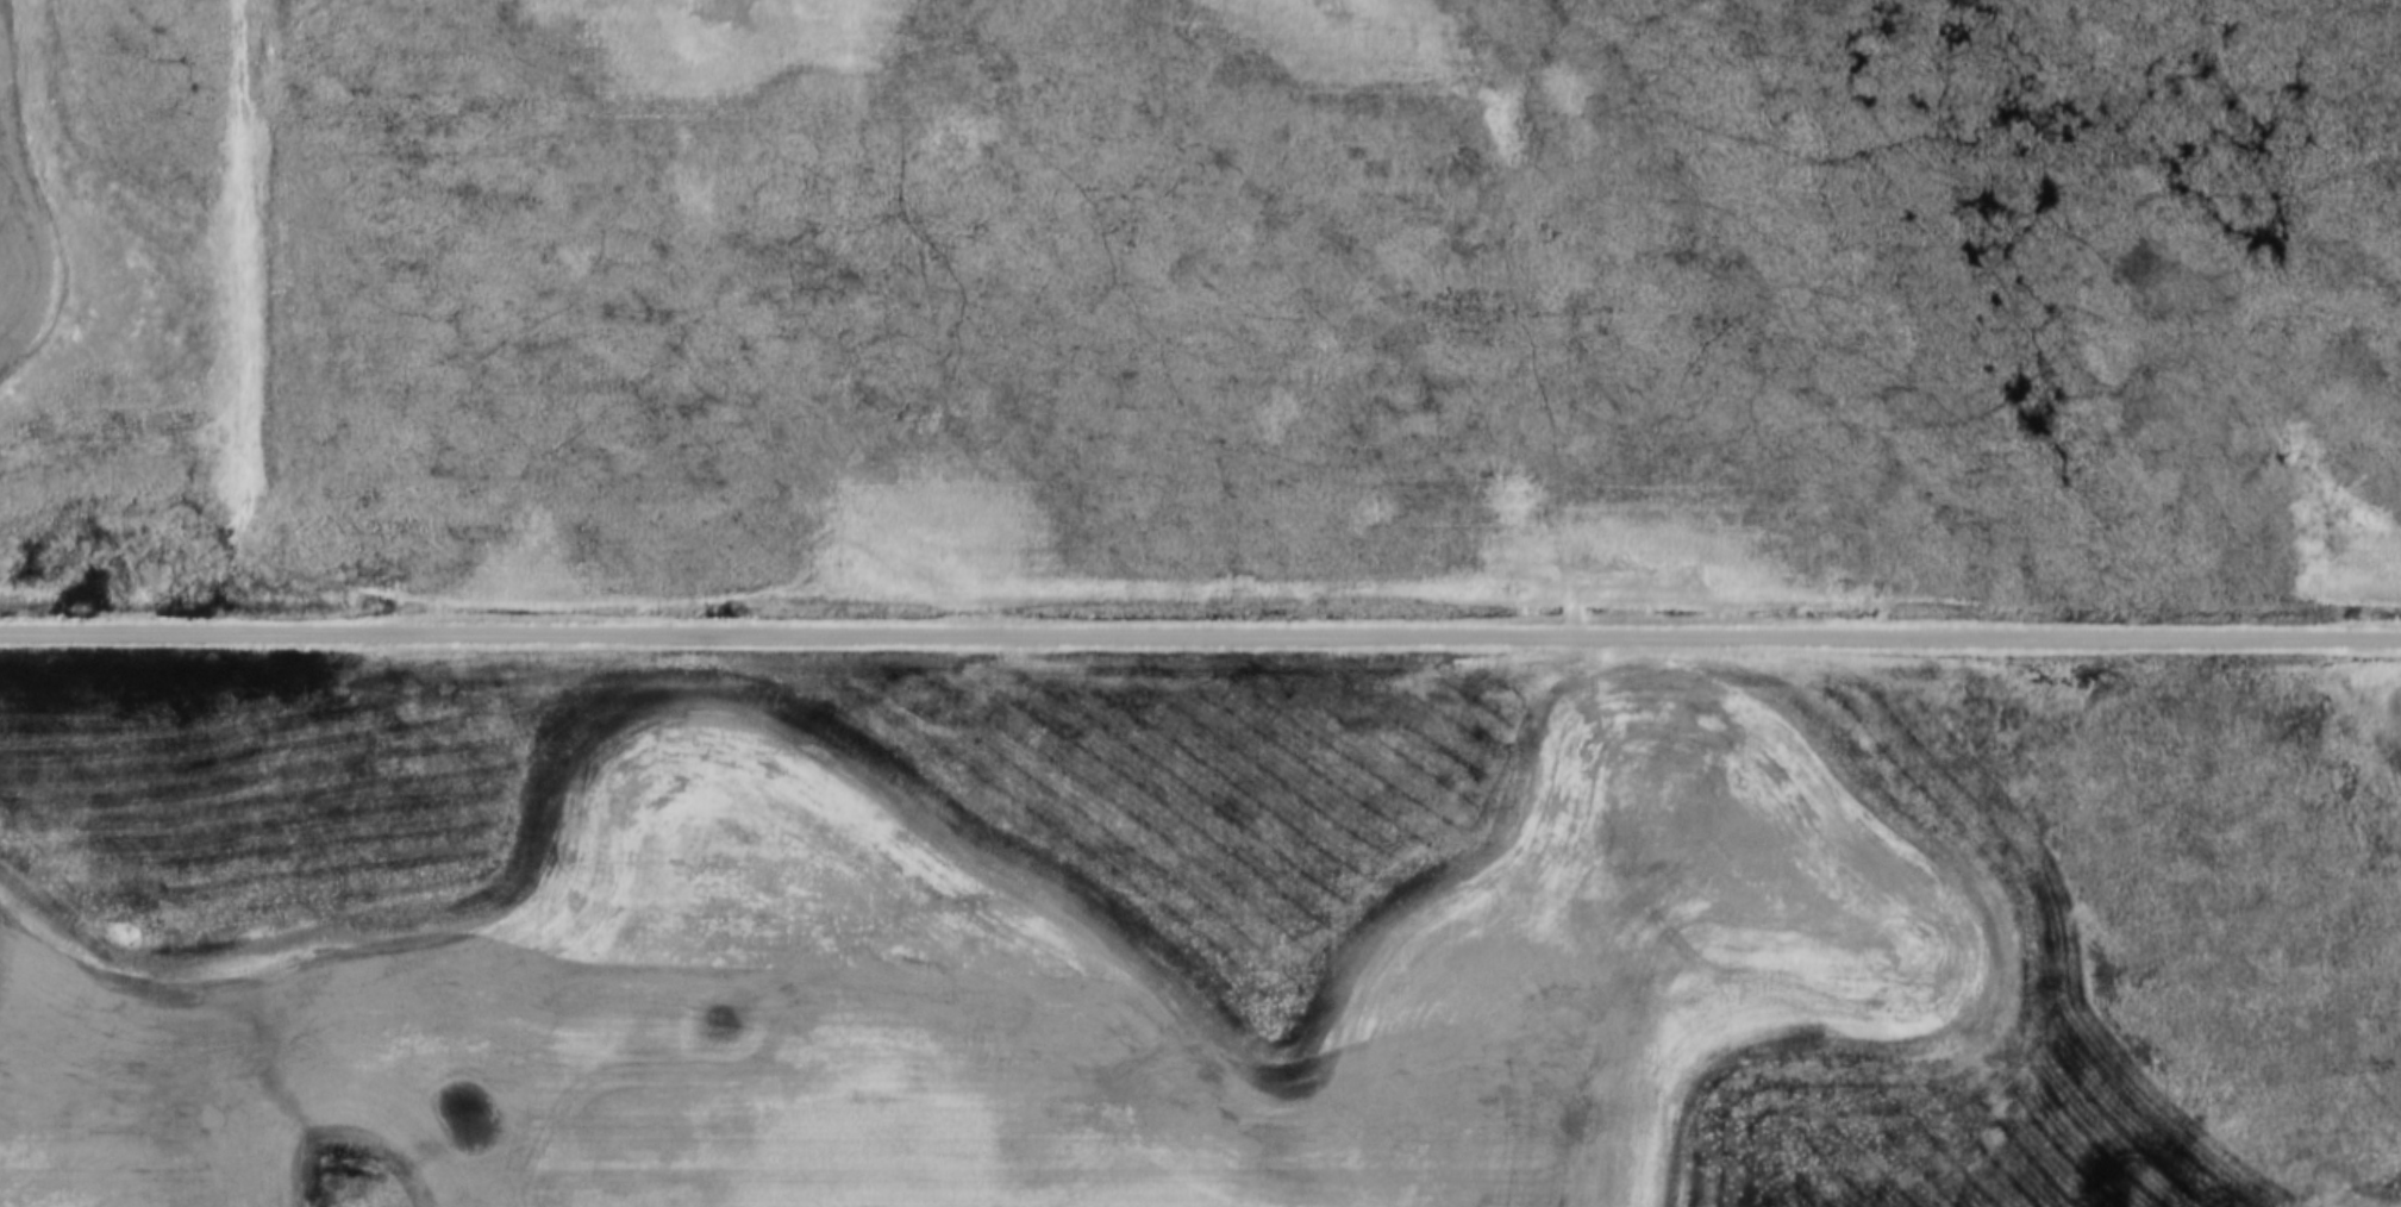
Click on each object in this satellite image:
road: (1200, 637)

